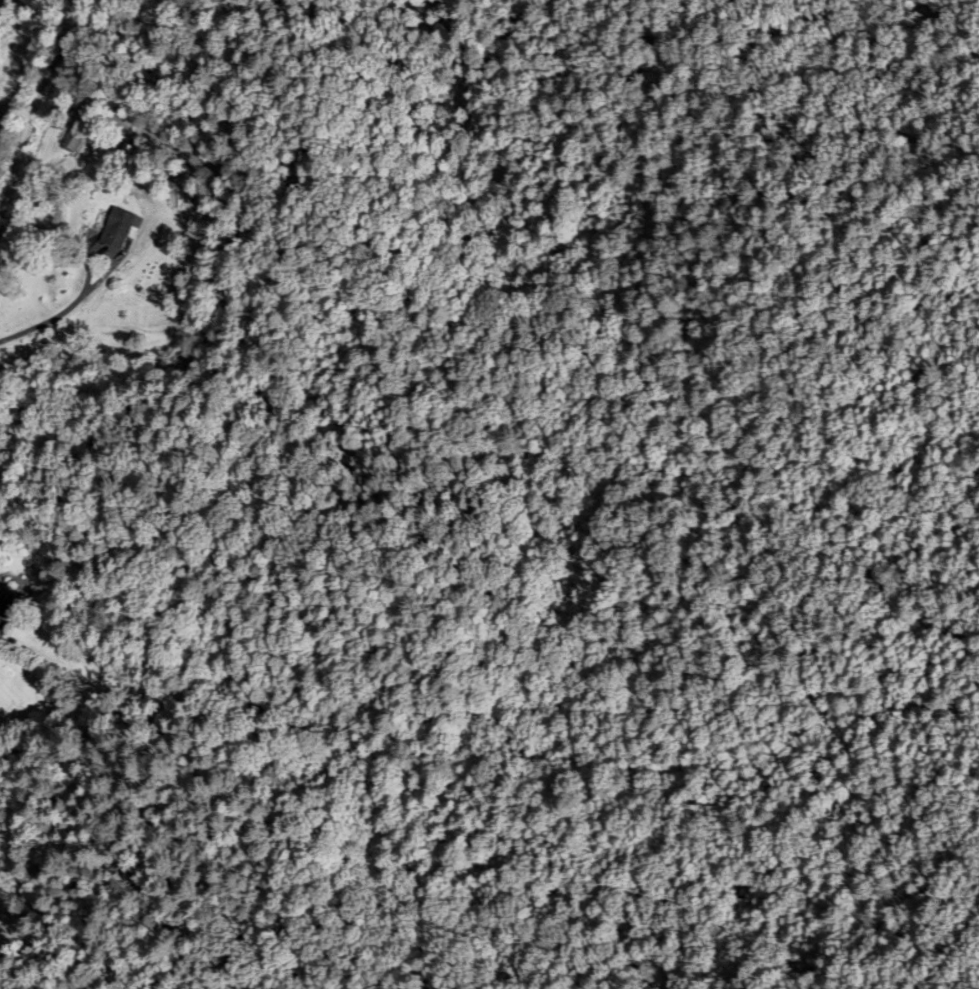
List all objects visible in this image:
road: (33, 100)
building: (71, 139)
building: (114, 229)
road: (113, 242)
road: (47, 321)
building: (4, 610)
road: (20, 658)

